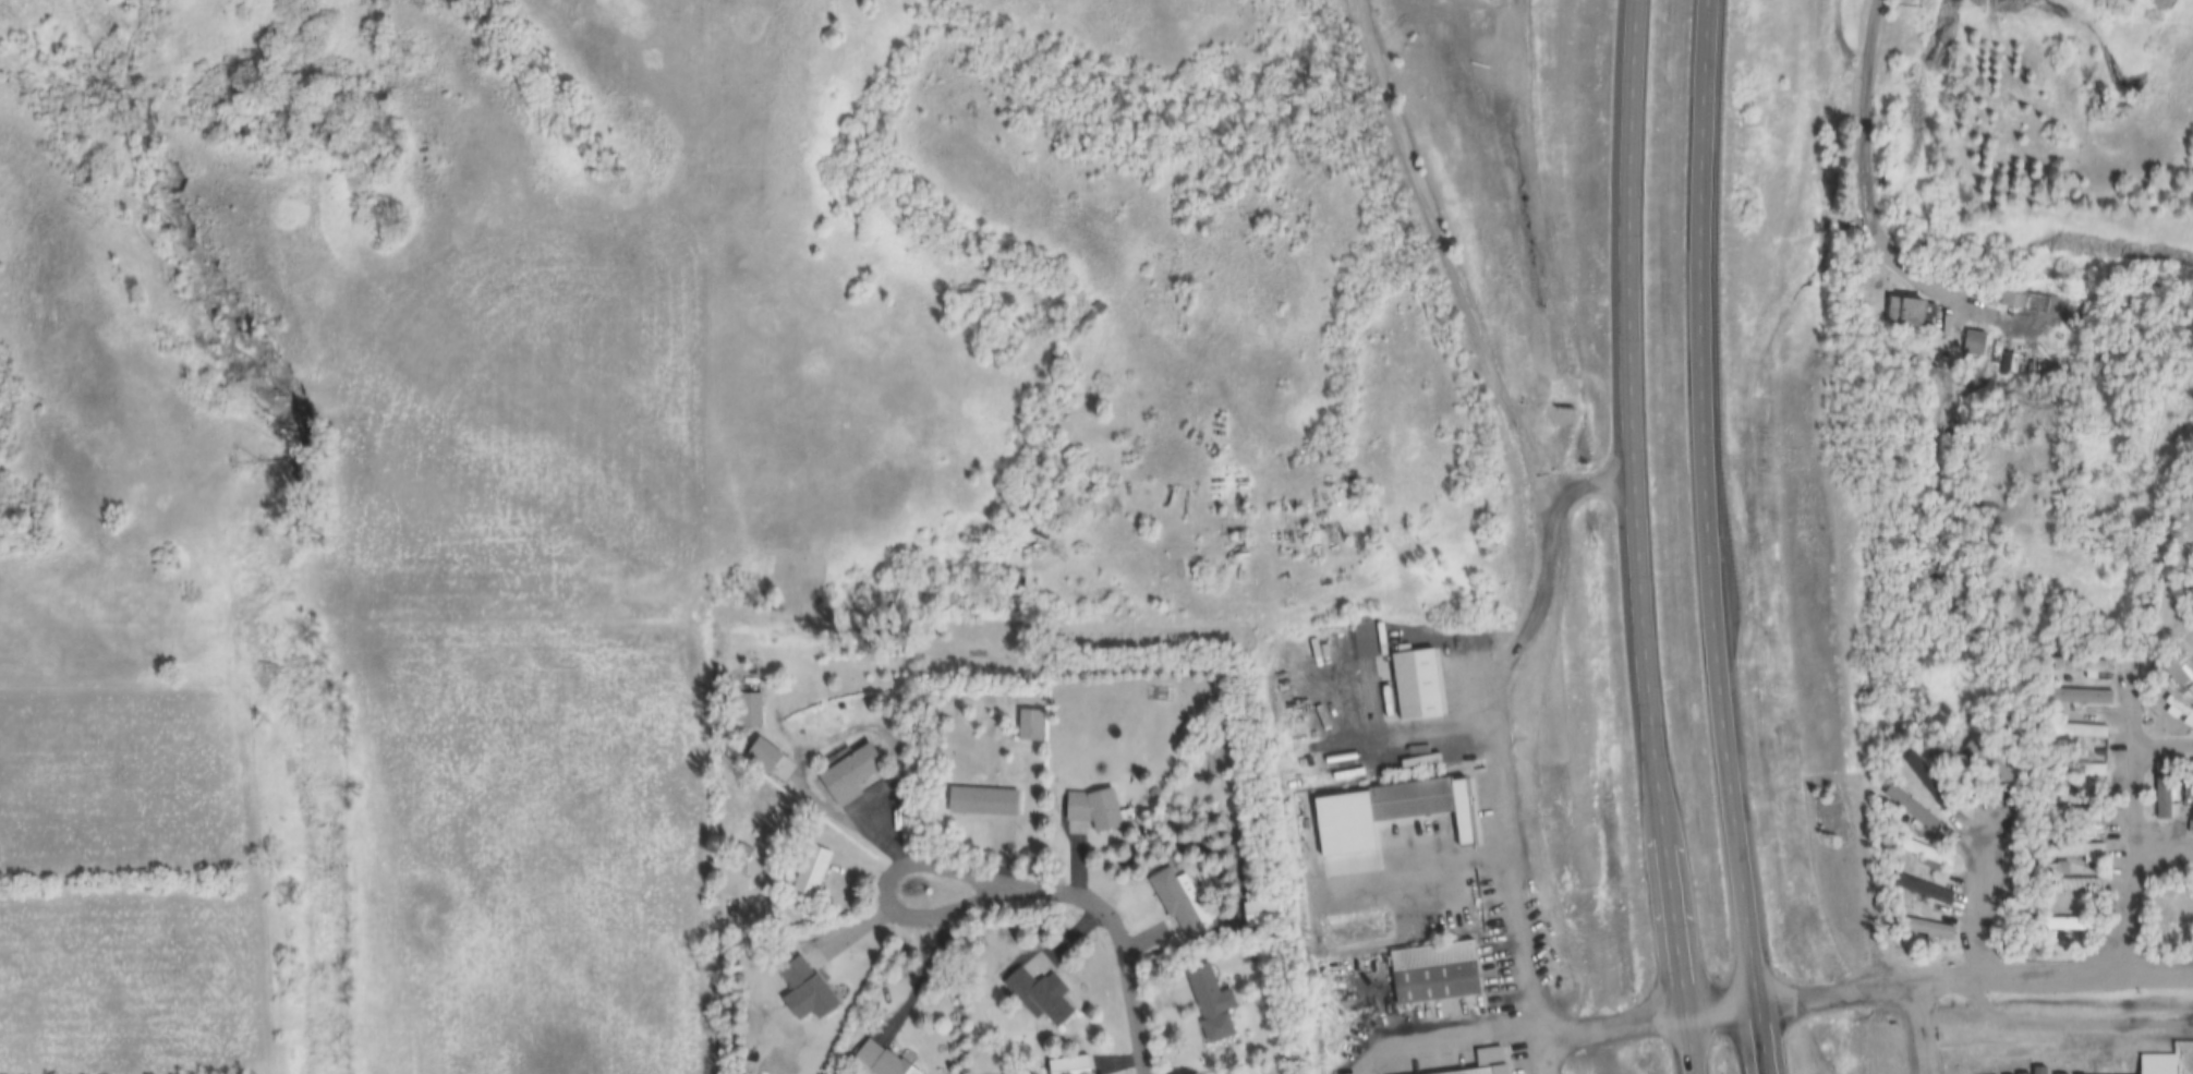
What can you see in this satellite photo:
road: (1866, 170)
building: (2015, 301)
building: (1913, 314)
building: (1087, 322)
building: (1977, 343)
road: (1590, 480)
road: (1558, 528)
road: (1716, 538)
road: (1637, 539)
building: (1162, 591)
building: (2082, 668)
building: (1413, 687)
building: (759, 710)
building: (2180, 713)
building: (1029, 726)
building: (2076, 735)
building: (853, 776)
building: (2094, 779)
building: (2192, 787)
road: (2124, 788)
building: (2165, 798)
building: (1415, 799)
building: (982, 801)
building: (1904, 806)
road: (1035, 807)
building: (1090, 812)
building: (2080, 817)
building: (2075, 852)
building: (1922, 854)
road: (1421, 860)
building: (815, 872)
building: (2076, 886)
road: (884, 894)
building: (1182, 905)
building: (1259, 913)
building: (2068, 925)
road: (1127, 948)
road: (1977, 972)
building: (1431, 974)
building: (810, 988)
road: (1986, 994)
building: (1039, 995)
road: (1726, 1005)
building: (1212, 1007)
road: (1919, 1026)
road: (1519, 1027)
building: (879, 1059)
building: (1487, 1061)
building: (2156, 1064)
building: (1066, 1066)

